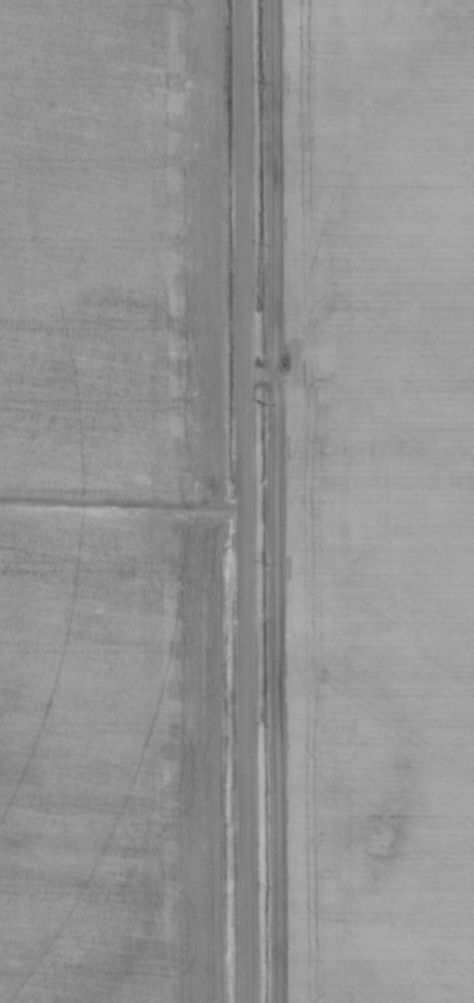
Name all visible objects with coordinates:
road: (245, 501)

